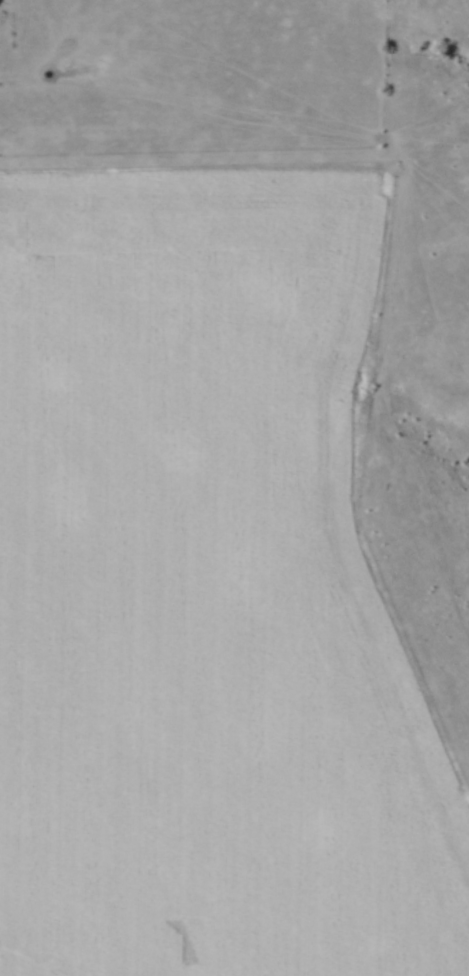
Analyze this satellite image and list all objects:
crop: (204, 591)

